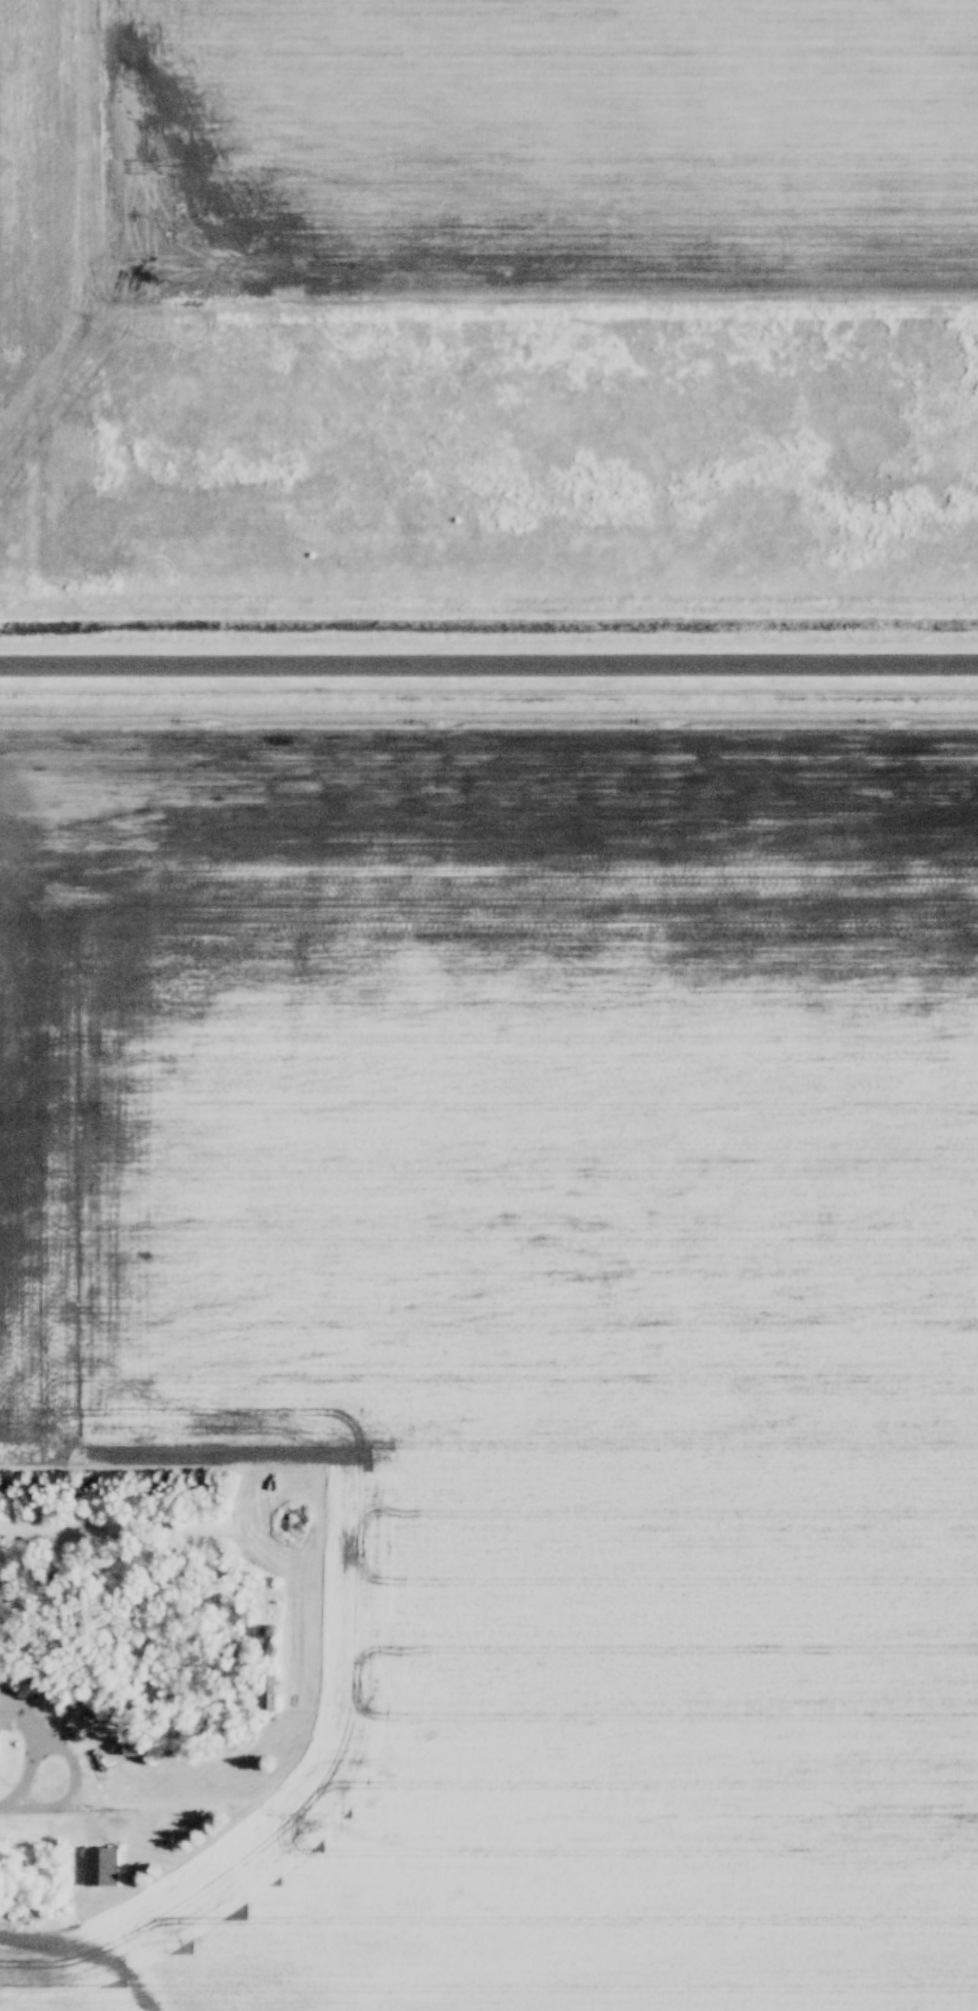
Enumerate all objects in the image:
road: (488, 666)
building: (265, 1692)
building: (136, 1741)
road: (69, 1761)
road: (0, 1807)
building: (101, 1866)

